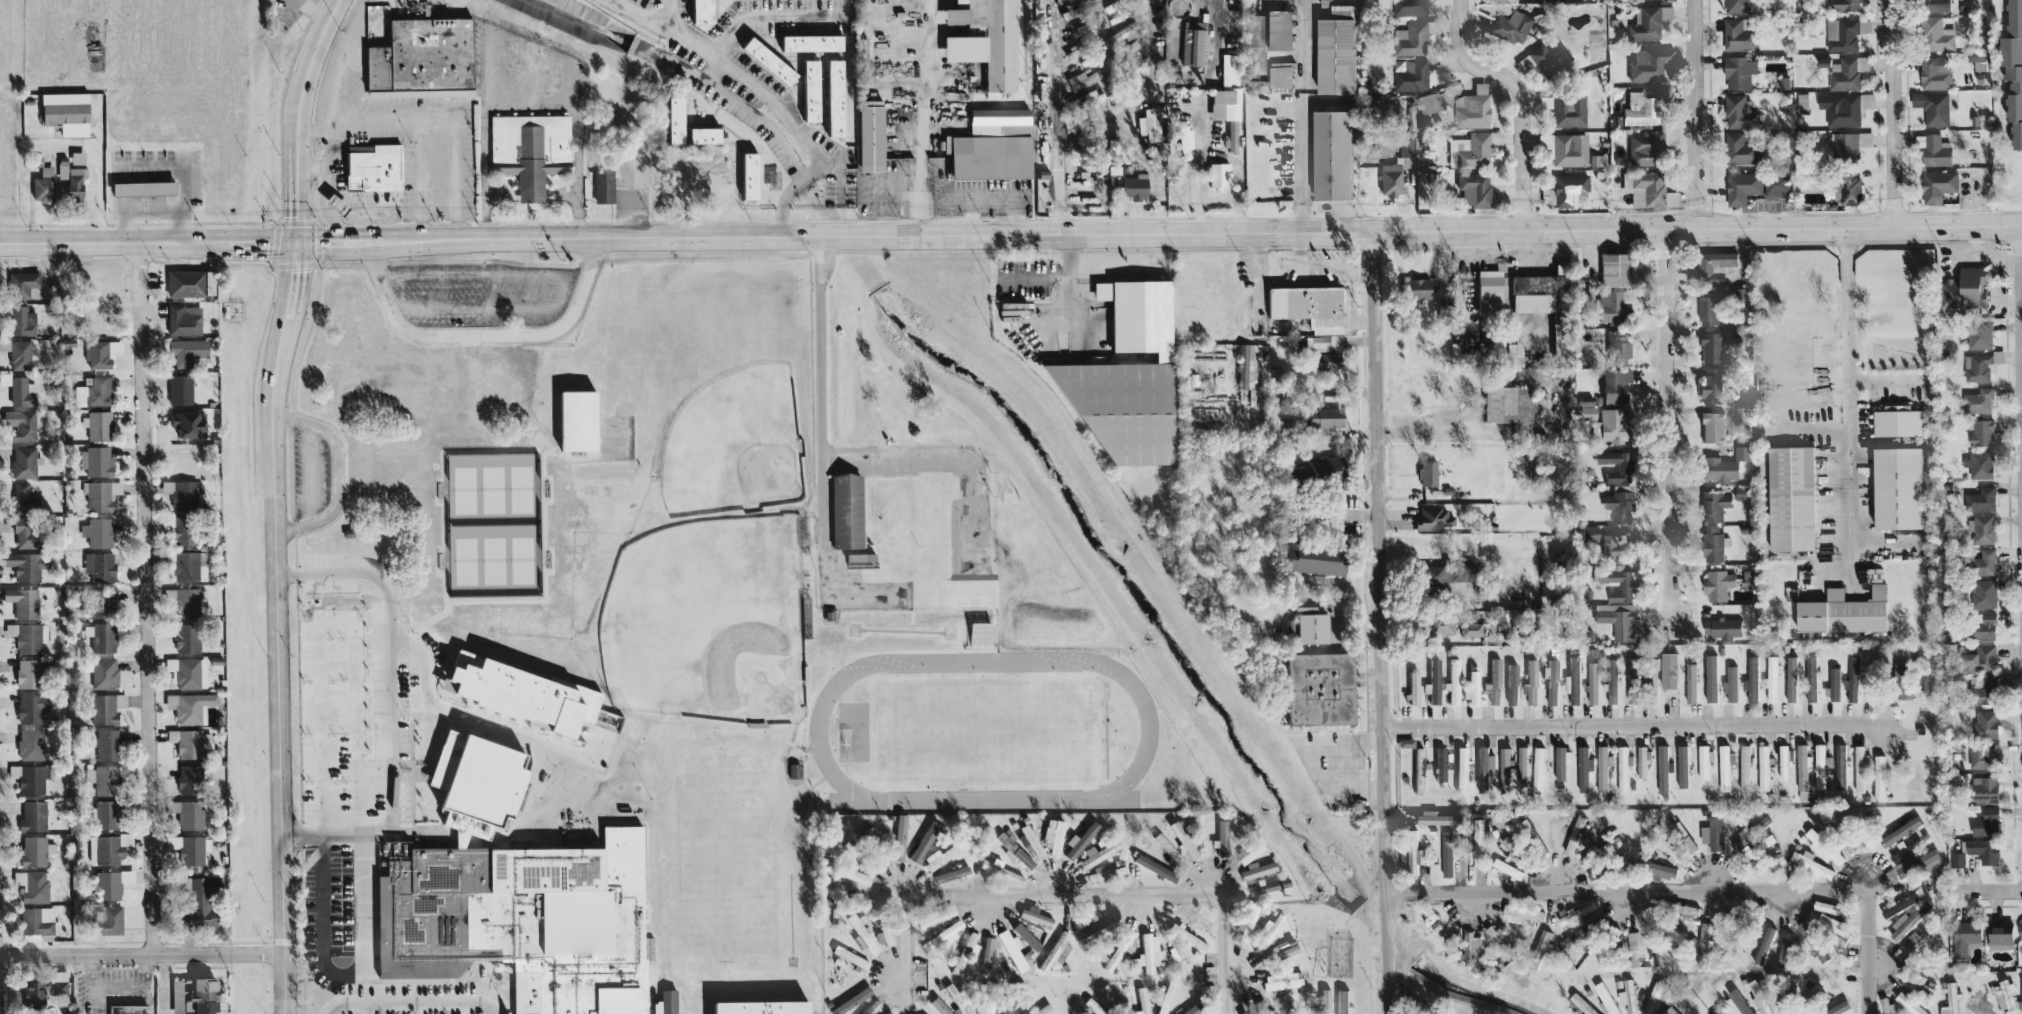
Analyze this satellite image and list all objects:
building: (1323, 2)
building: (1844, 5)
building: (1932, 5)
building: (1736, 6)
building: (1408, 7)
building: (697, 11)
road: (667, 12)
road: (767, 15)
building: (1648, 21)
river: (582, 23)
building: (1511, 25)
building: (1277, 29)
building: (1935, 33)
building: (1841, 34)
building: (1736, 35)
building: (1410, 38)
building: (983, 40)
building: (809, 42)
building: (1192, 42)
building: (1255, 44)
building: (1333, 49)
building: (1544, 58)
road: (340, 59)
building: (421, 59)
building: (1976, 59)
building: (764, 60)
building: (1648, 63)
road: (731, 66)
building: (2012, 69)
building: (1738, 71)
building: (1934, 71)
building: (1847, 73)
building: (1409, 74)
building: (1081, 80)
building: (1783, 81)
building: (807, 90)
road: (1144, 94)
road: (924, 95)
building: (831, 97)
road: (1518, 97)
building: (1226, 98)
building: (1802, 99)
building: (1931, 106)
road: (526, 108)
building: (1471, 108)
building: (1641, 108)
building: (1840, 108)
building: (1563, 109)
road: (752, 111)
road: (1890, 112)
road: (1695, 113)
building: (64, 114)
road: (1302, 115)
road: (1060, 116)
building: (671, 119)
road: (433, 122)
road: (1205, 130)
building: (700, 134)
building: (868, 138)
building: (1183, 139)
river: (778, 142)
road: (326, 144)
building: (1850, 144)
building: (989, 145)
building: (1406, 145)
building: (1648, 145)
building: (1565, 148)
building: (528, 149)
building: (1470, 149)
building: (1739, 149)
building: (1933, 149)
building: (1329, 154)
building: (370, 167)
road: (185, 169)
road: (101, 170)
building: (744, 175)
building: (1216, 175)
building: (1393, 175)
road: (325, 177)
building: (70, 179)
building: (770, 179)
road: (420, 181)
building: (1774, 184)
building: (41, 185)
building: (602, 185)
building: (1936, 185)
building: (1133, 186)
building: (1741, 186)
building: (1847, 186)
building: (139, 187)
building: (1473, 189)
building: (1564, 189)
building: (1646, 189)
road: (889, 190)
road: (531, 193)
road: (789, 193)
road: (578, 201)
building: (331, 204)
road: (484, 204)
road: (30, 205)
road: (132, 208)
road: (365, 212)
road: (918, 212)
road: (630, 216)
road: (330, 217)
road: (334, 231)
road: (1010, 234)
traffic signals: (297, 243)
road: (1279, 265)
building: (1713, 265)
road: (1335, 269)
building: (1612, 269)
road: (482, 274)
building: (184, 282)
building: (21, 284)
building: (1413, 288)
building: (1964, 289)
building: (1536, 290)
road: (1069, 291)
building: (1487, 291)
building: (1717, 303)
building: (1611, 305)
building: (1306, 306)
road: (1352, 306)
road: (484, 308)
road: (2021, 317)
building: (182, 319)
road: (1847, 333)
road: (484, 335)
building: (1979, 335)
building: (1322, 343)
building: (1615, 346)
building: (1708, 347)
building: (186, 351)
building: (16, 353)
building: (99, 353)
building: (1512, 354)
road: (473, 363)
building: (1323, 363)
building: (1246, 366)
building: (1977, 366)
building: (1124, 378)
building: (1614, 385)
building: (1708, 385)
building: (179, 389)
building: (21, 392)
building: (93, 392)
building: (1310, 398)
building: (1977, 400)
building: (1506, 404)
building: (1585, 410)
building: (1741, 415)
road: (822, 416)
building: (1323, 418)
building: (1895, 420)
road: (1667, 422)
building: (18, 424)
building: (185, 424)
building: (97, 425)
building: (1609, 426)
building: (1711, 426)
building: (1981, 431)
road: (1427, 432)
park: (734, 445)
road: (381, 446)
building: (446, 446)
building: (97, 461)
building: (22, 462)
building: (1723, 464)
building: (1979, 464)
building: (1623, 467)
building: (1322, 471)
road: (340, 472)
road: (311, 473)
building: (1426, 473)
building: (1895, 487)
building: (1741, 492)
building: (183, 494)
building: (100, 495)
building: (22, 498)
building: (1980, 499)
road: (275, 501)
building: (1618, 505)
building: (1714, 505)
building: (844, 510)
road: (1359, 513)
building: (1432, 518)
building: (1981, 528)
road: (974, 529)
building: (180, 531)
building: (23, 532)
building: (96, 532)
building: (1588, 533)
building: (1711, 543)
building: (1613, 545)
building: (1314, 559)
building: (1982, 562)
building: (187, 565)
building: (22, 566)
building: (98, 566)
road: (1836, 569)
building: (1439, 574)
building: (1869, 574)
building: (1717, 584)
building: (1625, 586)
river: (1129, 588)
building: (1982, 592)
road: (146, 598)
building: (21, 601)
building: (183, 601)
building: (1842, 611)
building: (1618, 619)
park: (708, 621)
road: (1380, 622)
building: (1308, 625)
building: (1437, 625)
building: (1981, 625)
building: (1469, 626)
building: (1721, 627)
building: (26, 636)
building: (100, 637)
park: (331, 650)
road: (389, 653)
building: (1978, 659)
building: (1669, 670)
building: (187, 672)
building: (104, 673)
building: (25, 674)
building: (1710, 678)
building: (1791, 678)
building: (1811, 678)
building: (1612, 679)
building: (1650, 679)
building: (1751, 679)
building: (1771, 679)
building: (1494, 680)
building: (1574, 680)
building: (1851, 680)
building: (1434, 681)
building: (1453, 681)
building: (1551, 681)
building: (1531, 682)
building: (1593, 682)
building: (1691, 682)
building: (1729, 683)
building: (1834, 683)
building: (1512, 684)
building: (1413, 687)
building: (1318, 688)
building: (1473, 688)
building: (1981, 690)
building: (516, 695)
building: (189, 706)
building: (104, 707)
building: (30, 708)
road: (461, 716)
park: (332, 721)
building: (1985, 723)
road: (1635, 725)
track: (817, 726)
track: (982, 728)
park: (983, 730)
building: (1405, 742)
building: (28, 744)
building: (106, 744)
building: (1956, 753)
building: (1982, 754)
road: (1305, 759)
building: (1642, 761)
building: (1704, 761)
building: (1783, 761)
building: (1559, 762)
road: (543, 763)
building: (1440, 764)
building: (1821, 765)
building: (1840, 765)
building: (1522, 766)
building: (1682, 766)
building: (1483, 767)
building: (1583, 767)
building: (1724, 767)
building: (1744, 767)
building: (1764, 767)
building: (1602, 768)
building: (1623, 768)
building: (1662, 768)
building: (1859, 768)
building: (1461, 769)
building: (1538, 769)
building: (1419, 770)
building: (1505, 770)
building: (13, 771)
building: (1802, 772)
building: (1879, 777)
building: (105, 779)
building: (188, 779)
building: (30, 780)
building: (1984, 789)
road: (357, 796)
road: (319, 797)
building: (103, 814)
building: (186, 814)
building: (31, 816)
building: (1436, 818)
building: (1985, 822)
building: (1899, 831)
building: (1712, 833)
road: (360, 835)
building: (1475, 835)
building: (1052, 836)
building: (898, 837)
building: (1682, 837)
road: (901, 838)
building: (1220, 838)
building: (1180, 839)
building: (1079, 840)
building: (1865, 840)
building: (924, 841)
building: (1030, 842)
building: (1509, 847)
building: (1823, 847)
building: (1012, 849)
building: (1983, 849)
building: (33, 850)
building: (103, 850)
building: (192, 850)
building: (1248, 852)
building: (1412, 853)
building: (1446, 853)
building: (1097, 854)
building: (937, 857)
building: (1176, 859)
building: (1957, 859)
building: (1918, 862)
building: (1809, 863)
park: (730, 865)
building: (1153, 868)
building: (998, 870)
building: (1256, 870)
building: (1659, 870)
building: (950, 874)
building: (858, 877)
building: (107, 884)
building: (30, 885)
building: (1268, 886)
road: (1691, 888)
road: (1987, 890)
road: (1124, 893)
building: (516, 900)
building: (200, 901)
building: (1898, 903)
building: (1685, 910)
building: (1520, 913)
building: (1575, 913)
building: (934, 917)
building: (1033, 917)
building: (1195, 919)
building: (1907, 920)
building: (106, 921)
building: (37, 922)
building: (1246, 924)
building: (1830, 926)
building: (2020, 930)
river: (1387, 933)
building: (1671, 933)
building: (860, 934)
building: (1265, 934)
building: (1998, 935)
building: (1025, 936)
building: (1495, 936)
building: (1963, 936)
building: (941, 937)
road: (904, 939)
building: (1573, 939)
building: (1915, 939)
building: (1192, 940)
building: (1470, 947)
building: (1635, 947)
building: (1538, 949)
building: (1663, 949)
building: (1119, 950)
building: (1279, 950)
building: (1055, 951)
building: (1818, 951)
road: (142, 953)
building: (1149, 953)
building: (964, 954)
building: (848, 957)
road: (345, 975)
building: (1282, 982)
road: (166, 983)
road: (116, 986)
building: (42, 987)
river: (1470, 990)
building: (1625, 993)
building: (2003, 994)
building: (199, 997)
building: (1165, 998)
building: (1605, 998)
building: (1650, 999)
building: (1949, 999)
building: (2021, 999)
building: (956, 1000)
building: (1142, 1000)
road: (413, 1001)
building: (849, 1001)
building: (1324, 1001)
building: (1341, 1001)
building: (1583, 1005)
building: (1911, 1005)
building: (759, 1006)
building: (938, 1006)
building: (1296, 1006)
building: (1886, 1006)
building: (986, 1008)
building: (1043, 1009)
building: (1667, 1011)
building: (1714, 1013)

